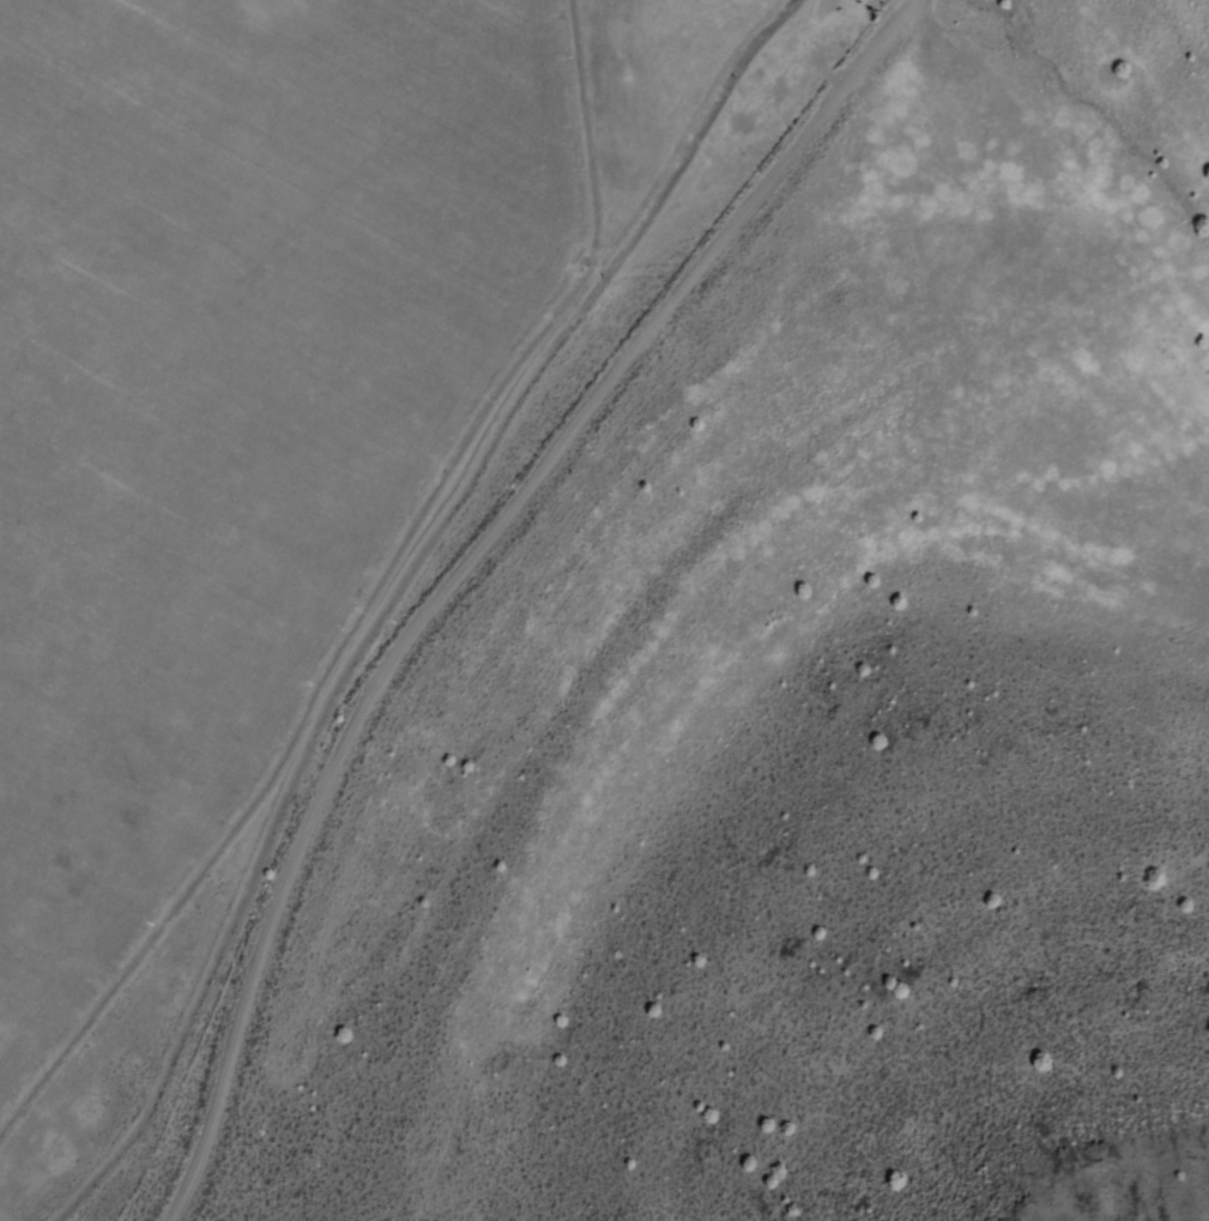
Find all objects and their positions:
road: (469, 566)

